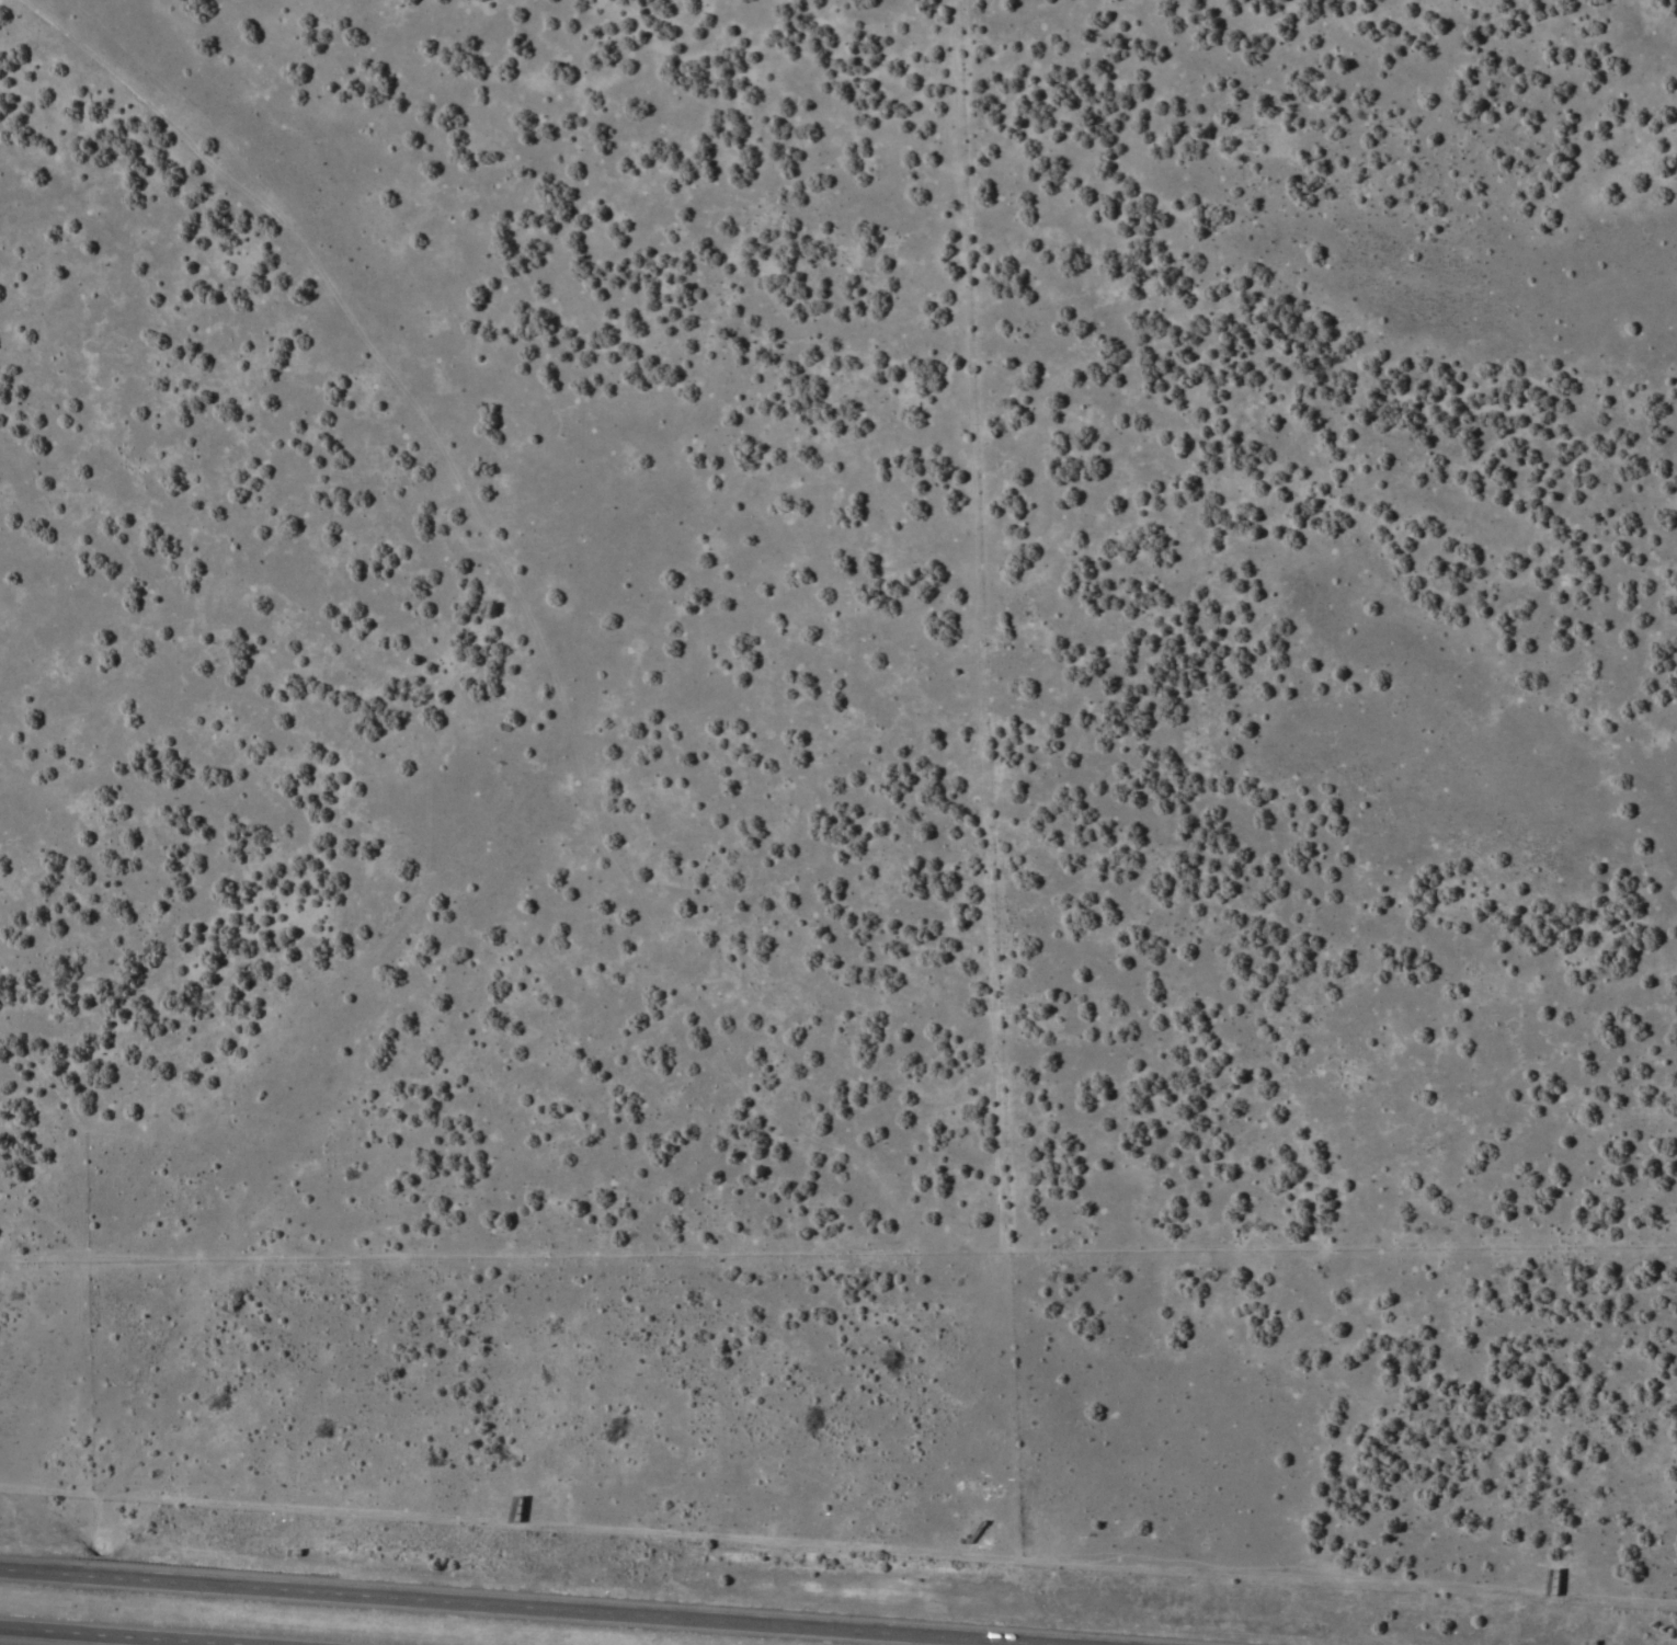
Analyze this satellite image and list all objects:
road: (484, 1610)
road: (128, 1635)

